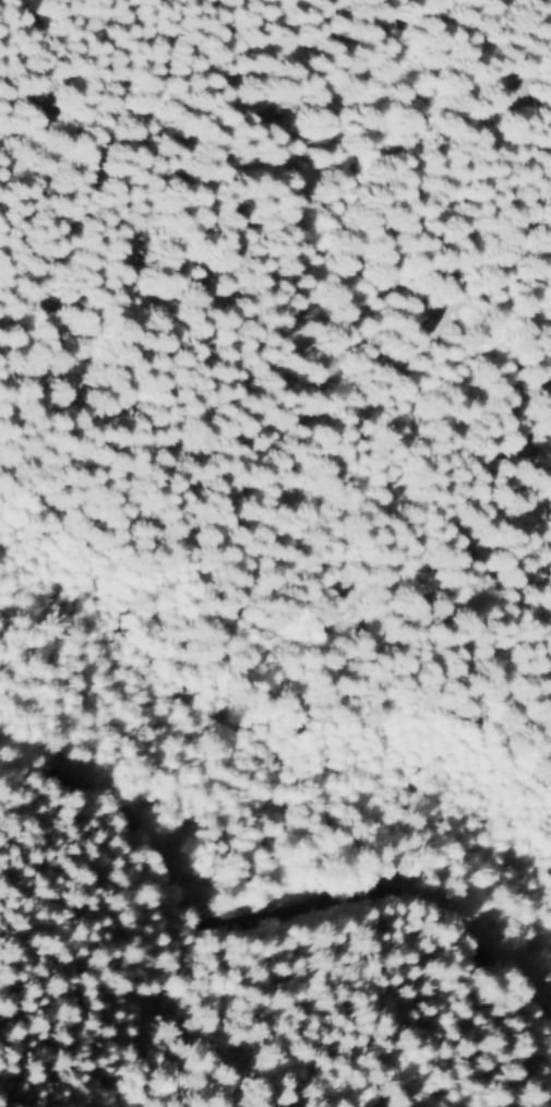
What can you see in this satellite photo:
road: (272, 913)

